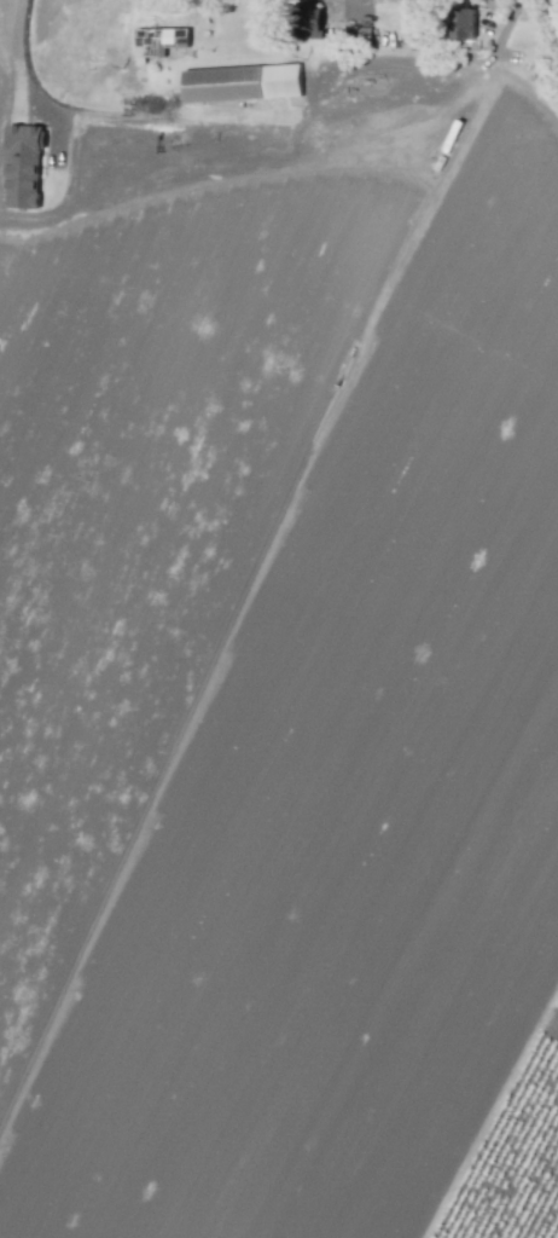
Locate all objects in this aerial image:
building: (463, 19)
building: (308, 21)
building: (158, 40)
building: (242, 82)
road: (28, 83)
building: (23, 166)

